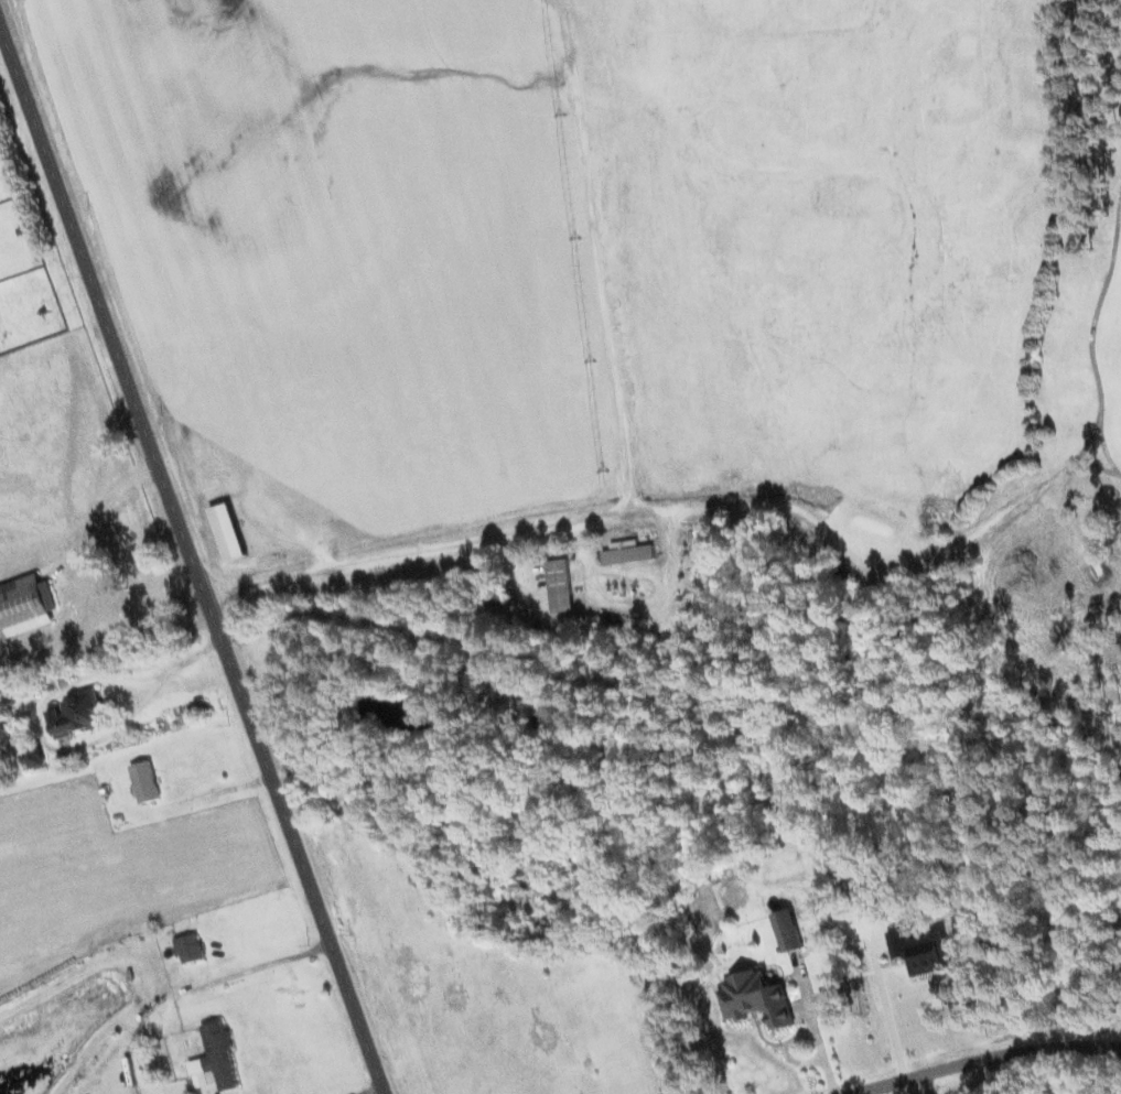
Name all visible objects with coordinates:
road: (599, 254)
park: (637, 311)
road: (669, 509)
building: (627, 553)
road: (194, 559)
building: (560, 585)
building: (498, 596)
building: (26, 605)
road: (474, 653)
building: (500, 696)
building: (77, 714)
building: (35, 758)
building: (145, 781)
building: (788, 930)
building: (190, 947)
building: (923, 951)
road: (256, 968)
building: (756, 998)
road: (984, 1058)
building: (216, 1059)

